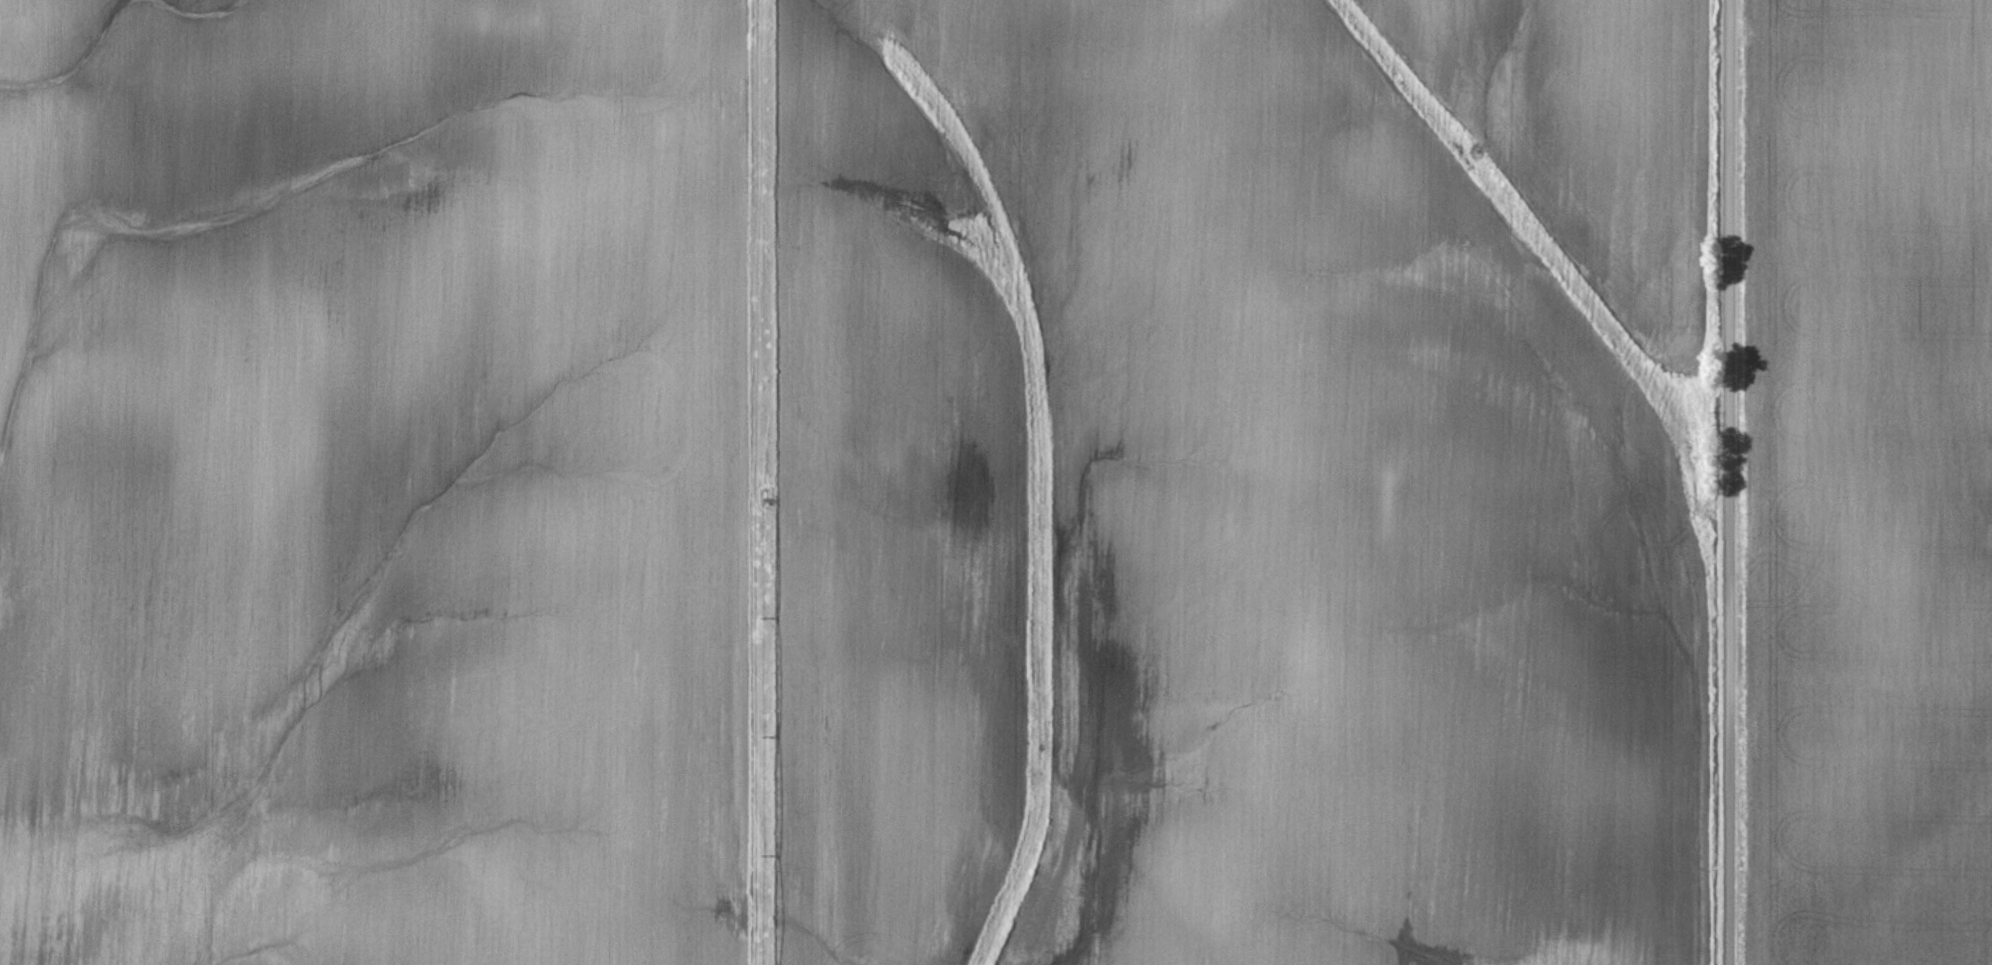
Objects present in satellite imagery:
road: (1734, 482)

